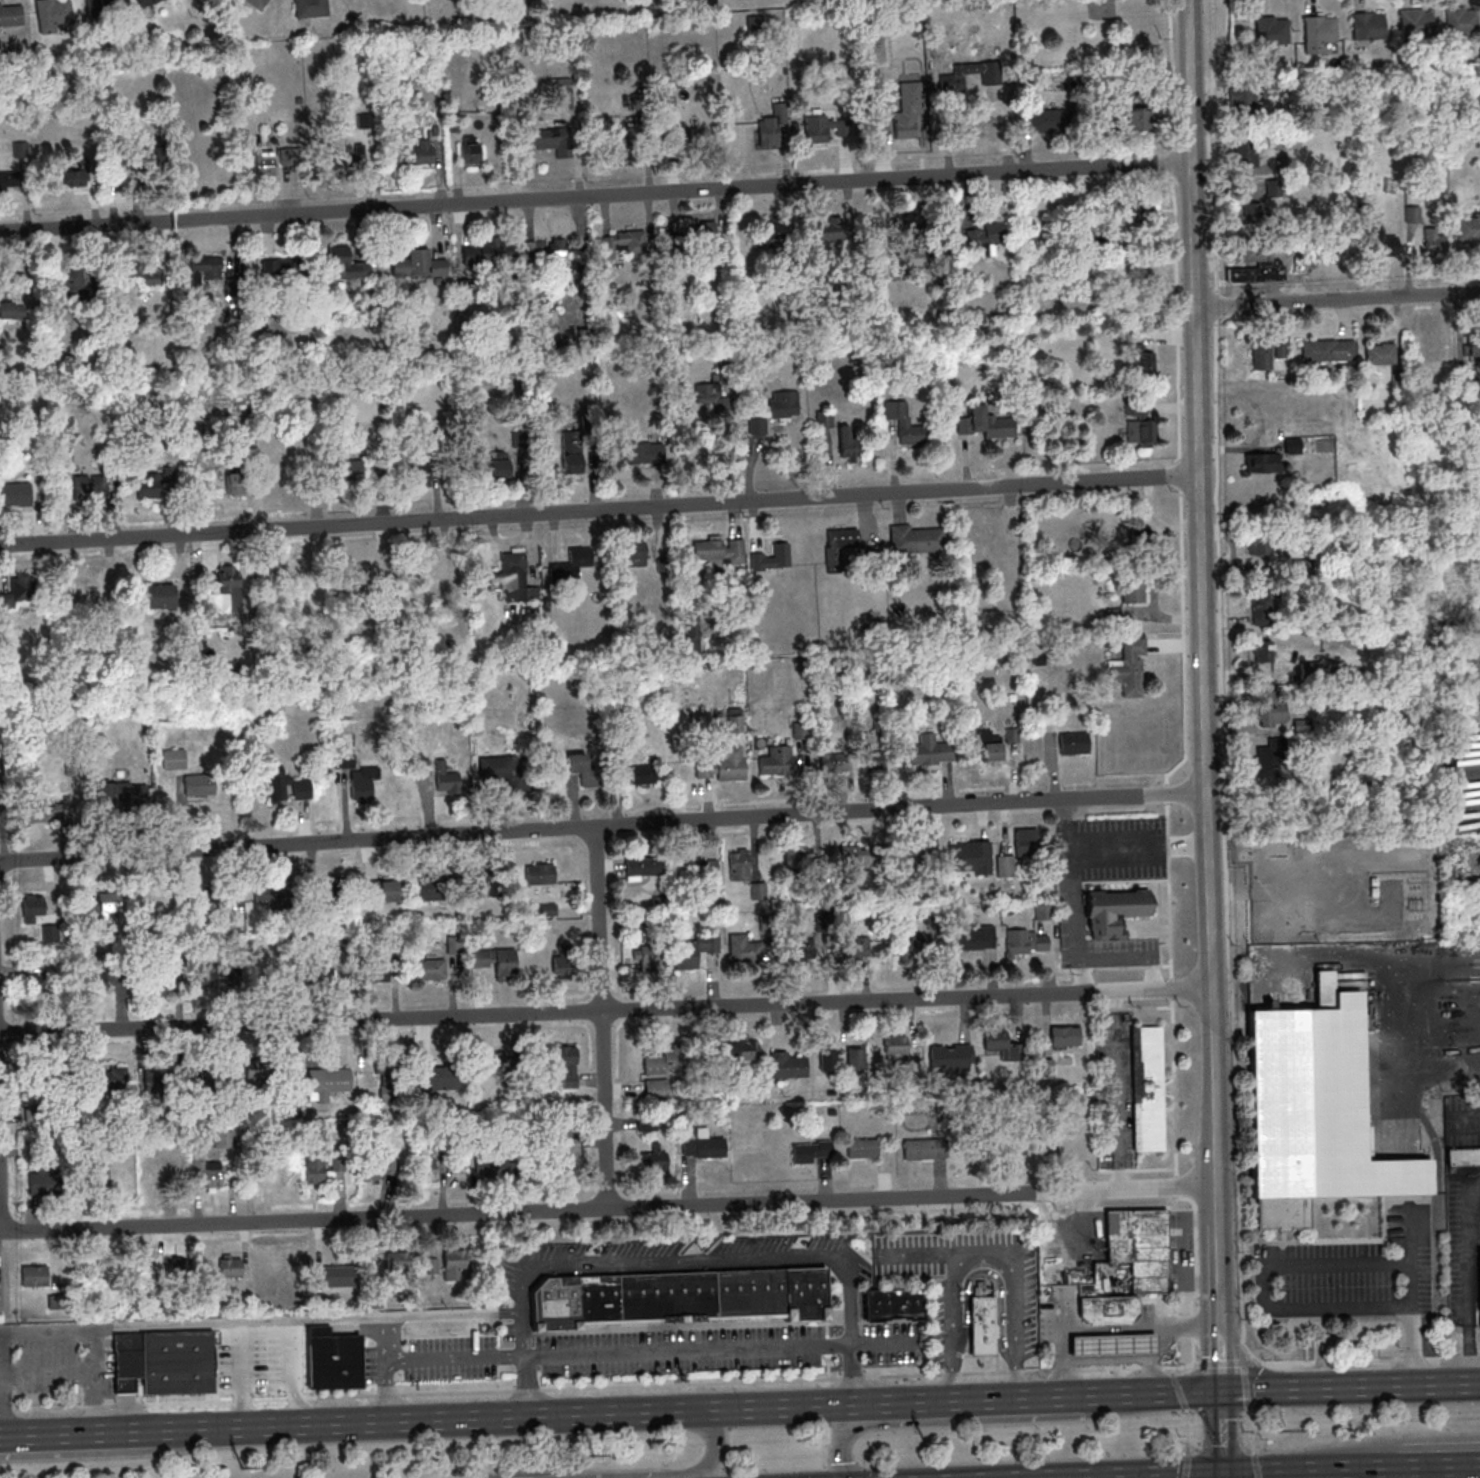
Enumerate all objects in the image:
building: (144, 2)
building: (257, 4)
park: (754, 5)
building: (101, 6)
building: (307, 8)
building: (9, 14)
building: (50, 14)
building: (1458, 20)
building: (1413, 22)
building: (1364, 25)
building: (1317, 28)
building: (1267, 30)
building: (948, 79)
building: (957, 82)
building: (562, 95)
building: (1241, 99)
building: (904, 109)
building: (1136, 119)
building: (1046, 120)
building: (816, 129)
building: (769, 132)
building: (685, 138)
building: (551, 141)
building: (622, 146)
building: (20, 149)
building: (469, 150)
building: (1246, 152)
building: (415, 154)
building: (286, 156)
building: (260, 162)
building: (356, 162)
building: (80, 176)
building: (7, 181)
road: (595, 195)
building: (1141, 212)
building: (1413, 213)
building: (1254, 214)
building: (906, 223)
building: (828, 229)
building: (1468, 230)
building: (771, 235)
building: (986, 235)
building: (704, 240)
building: (1435, 240)
building: (625, 243)
building: (1383, 243)
building: (547, 249)
building: (484, 252)
building: (917, 258)
building: (347, 262)
building: (418, 264)
building: (1255, 266)
building: (207, 267)
building: (279, 268)
building: (144, 272)
building: (69, 280)
road: (1336, 300)
building: (13, 307)
building: (552, 339)
building: (1474, 345)
building: (1280, 349)
building: (1328, 350)
building: (1431, 351)
building: (1380, 353)
building: (1261, 355)
building: (1147, 364)
building: (2, 370)
building: (195, 376)
building: (708, 392)
building: (773, 411)
building: (824, 419)
building: (906, 423)
building: (981, 423)
building: (1140, 425)
building: (850, 442)
building: (1293, 445)
building: (573, 452)
building: (641, 452)
building: (1262, 462)
building: (499, 468)
building: (348, 471)
building: (417, 474)
building: (279, 476)
building: (236, 484)
building: (149, 488)
building: (87, 489)
building: (14, 492)
road: (598, 509)
building: (987, 527)
building: (1011, 532)
building: (912, 538)
building: (1143, 539)
building: (836, 543)
building: (1261, 545)
building: (716, 549)
building: (635, 551)
building: (772, 558)
building: (567, 566)
building: (355, 567)
building: (434, 568)
building: (511, 579)
building: (91, 585)
building: (224, 591)
building: (1133, 591)
building: (20, 592)
road: (1198, 593)
building: (161, 596)
building: (1263, 607)
building: (1263, 651)
building: (1129, 668)
building: (1271, 708)
building: (735, 719)
building: (1071, 742)
building: (990, 748)
building: (926, 750)
building: (1272, 752)
building: (171, 758)
building: (344, 758)
building: (874, 759)
building: (775, 760)
building: (829, 762)
building: (496, 766)
building: (726, 766)
building: (585, 767)
building: (704, 768)
building: (644, 775)
building: (446, 778)
building: (277, 782)
building: (361, 782)
building: (196, 784)
building: (303, 788)
building: (122, 794)
building: (42, 812)
road: (1069, 819)
road: (602, 827)
road: (1122, 836)
building: (1027, 841)
road: (1181, 845)
building: (796, 857)
building: (861, 857)
building: (969, 857)
building: (916, 859)
road: (1124, 859)
building: (738, 864)
building: (1004, 865)
building: (640, 866)
building: (695, 866)
building: (540, 874)
building: (431, 887)
building: (381, 890)
building: (758, 890)
building: (328, 891)
building: (266, 892)
building: (214, 899)
building: (157, 901)
building: (109, 903)
building: (33, 904)
building: (1114, 908)
road: (1078, 915)
building: (970, 938)
building: (1017, 942)
building: (741, 948)
building: (905, 948)
building: (691, 950)
building: (851, 950)
building: (794, 953)
building: (650, 957)
road: (1128, 957)
building: (497, 958)
building: (563, 965)
building: (427, 968)
building: (372, 971)
building: (315, 972)
building: (221, 976)
building: (98, 979)
building: (43, 985)
road: (603, 1009)
road: (602, 1017)
building: (1055, 1036)
building: (998, 1044)
building: (892, 1046)
building: (731, 1050)
building: (941, 1054)
building: (851, 1058)
building: (824, 1059)
building: (664, 1060)
building: (486, 1061)
building: (568, 1063)
building: (783, 1065)
building: (258, 1075)
building: (108, 1078)
building: (190, 1078)
building: (154, 1080)
building: (429, 1080)
building: (324, 1082)
building: (1147, 1088)
building: (388, 1090)
building: (653, 1090)
road: (1119, 1090)
building: (1314, 1114)
building: (647, 1123)
building: (224, 1138)
building: (699, 1142)
building: (859, 1148)
building: (922, 1148)
building: (808, 1150)
building: (1463, 1156)
building: (570, 1157)
building: (653, 1158)
building: (496, 1166)
building: (314, 1169)
building: (432, 1169)
building: (376, 1171)
building: (263, 1173)
building: (210, 1177)
building: (154, 1179)
building: (47, 1183)
road: (607, 1206)
road: (2, 1240)
building: (1139, 1246)
road: (980, 1248)
road: (724, 1258)
road: (1217, 1258)
building: (397, 1261)
building: (454, 1264)
building: (230, 1266)
building: (176, 1269)
building: (34, 1276)
building: (334, 1276)
road: (1467, 1276)
building: (1478, 1285)
road: (1261, 1286)
building: (675, 1298)
building: (892, 1305)
building: (1101, 1307)
road: (452, 1314)
road: (239, 1321)
building: (981, 1324)
road: (1100, 1327)
road: (1409, 1327)
road: (1164, 1336)
road: (386, 1337)
building: (1110, 1345)
road: (641, 1349)
road: (453, 1356)
road: (1250, 1356)
road: (1209, 1359)
road: (1230, 1359)
road: (1091, 1360)
building: (241, 1361)
road: (1368, 1362)
road: (1225, 1365)
road: (1149, 1368)
road: (1176, 1369)
road: (1107, 1370)
road: (1060, 1371)
road: (16, 1372)
road: (1015, 1372)
road: (1035, 1372)
road: (1172, 1372)
road: (850, 1373)
road: (982, 1374)
road: (948, 1376)
road: (902, 1377)
road: (91, 1380)
road: (850, 1380)
road: (1244, 1380)
road: (689, 1386)
road: (1350, 1386)
traffic signals: (1220, 1390)
road: (1155, 1391)
road: (526, 1392)
road: (455, 1394)
road: (1178, 1394)
road: (1151, 1395)
road: (385, 1396)
road: (340, 1398)
road: (983, 1398)
road: (295, 1400)
road: (250, 1402)
road: (172, 1404)
road: (1063, 1406)
road: (115, 1407)
road: (92, 1408)
road: (47, 1410)
road: (5, 1411)
road: (500, 1417)
road: (987, 1419)
road: (1221, 1431)
power tower: (1279, 1431)
road: (1247, 1433)
road: (62, 1435)
road: (1186, 1435)
road: (1388, 1447)
power tower: (926, 1448)
road: (126, 1452)
power tower: (589, 1460)
road: (1254, 1466)
road: (1185, 1467)
road: (1376, 1468)
power tower: (245, 1472)
road: (1248, 1472)
road: (1447, 1472)
road: (637, 1473)
traffic signals: (1222, 1473)
road: (1356, 1473)
road: (1405, 1473)
road: (1278, 1474)
road: (1316, 1474)
road: (1148, 1475)
road: (1222, 1475)
road: (1154, 1476)

